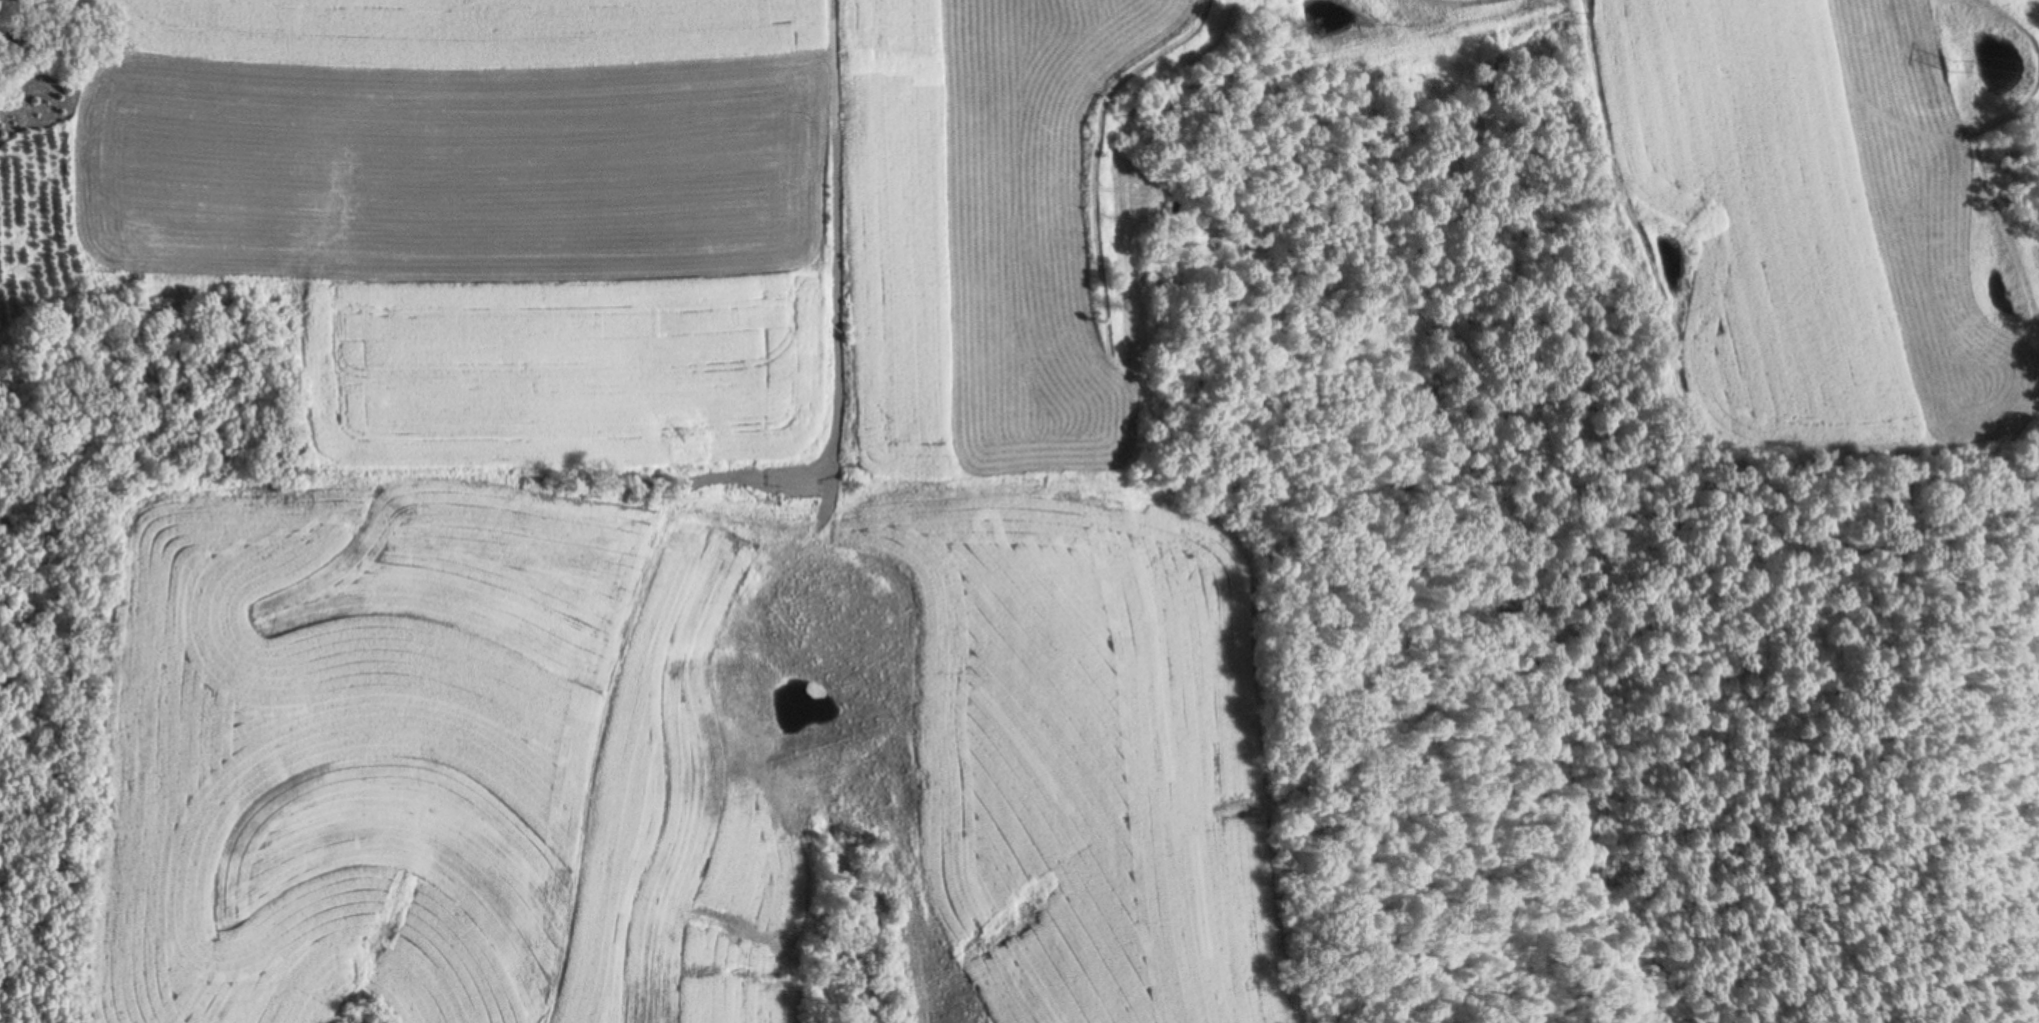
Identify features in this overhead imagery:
power tower: (1574, 17)
power tower: (1952, 65)

